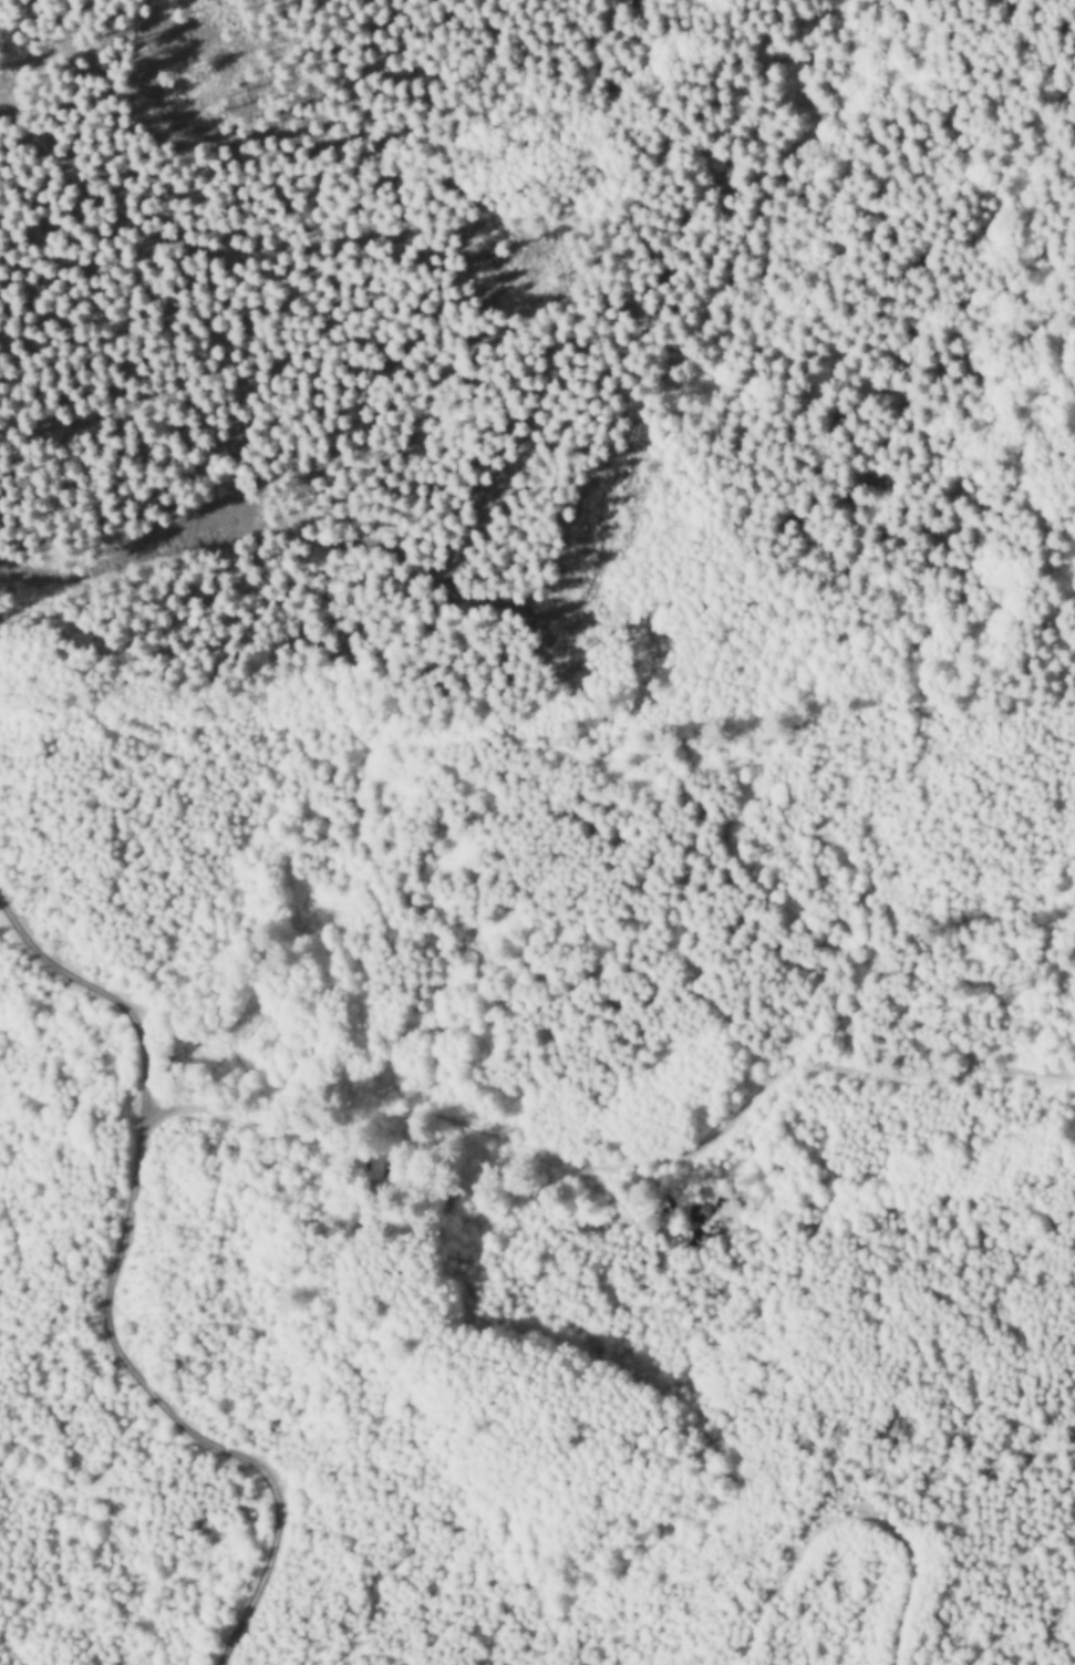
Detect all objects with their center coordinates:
road: (608, 1141)
road: (106, 1271)

